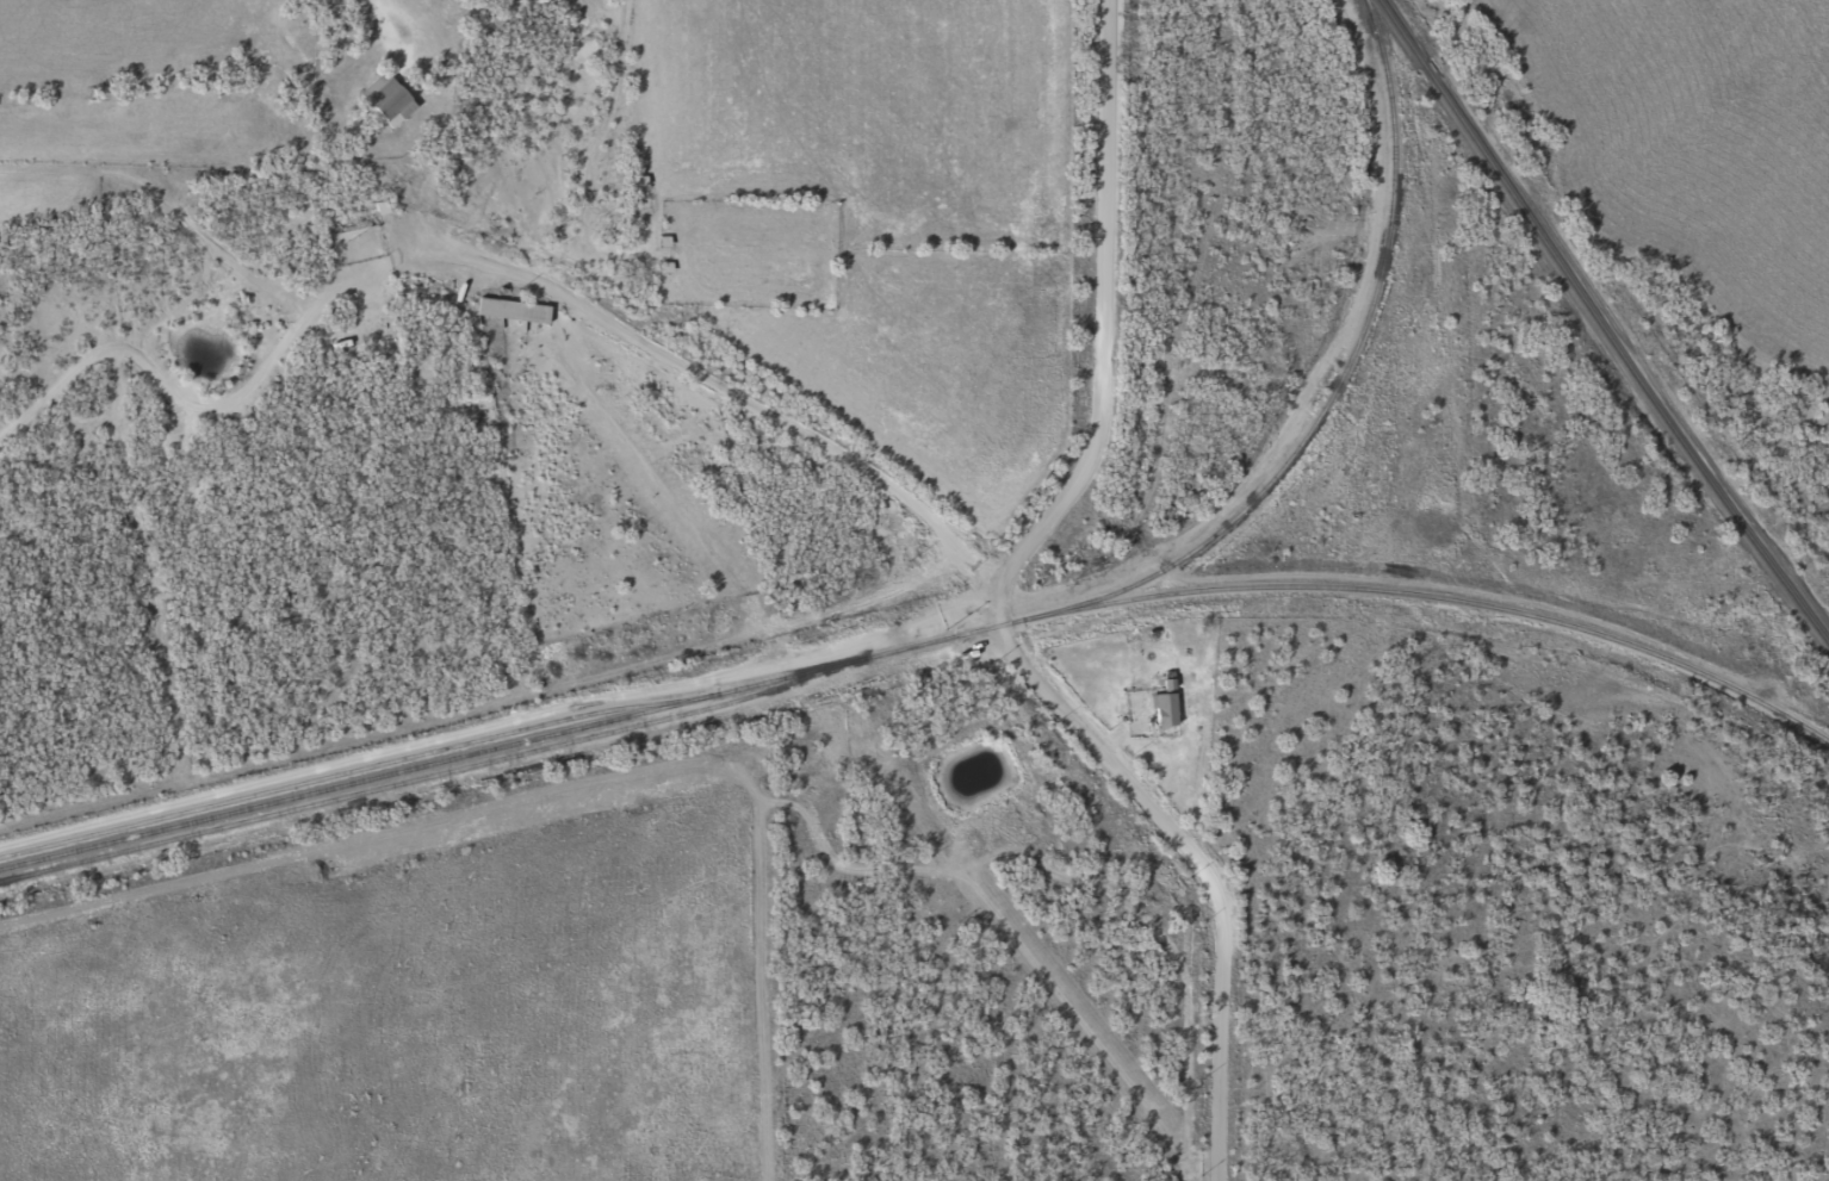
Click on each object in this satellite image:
building: (383, 101)
building: (508, 310)
railway: (1599, 323)
railway: (1340, 369)
railway: (1456, 599)
road: (996, 613)
building: (1164, 702)
railway: (528, 738)
railway: (440, 771)

